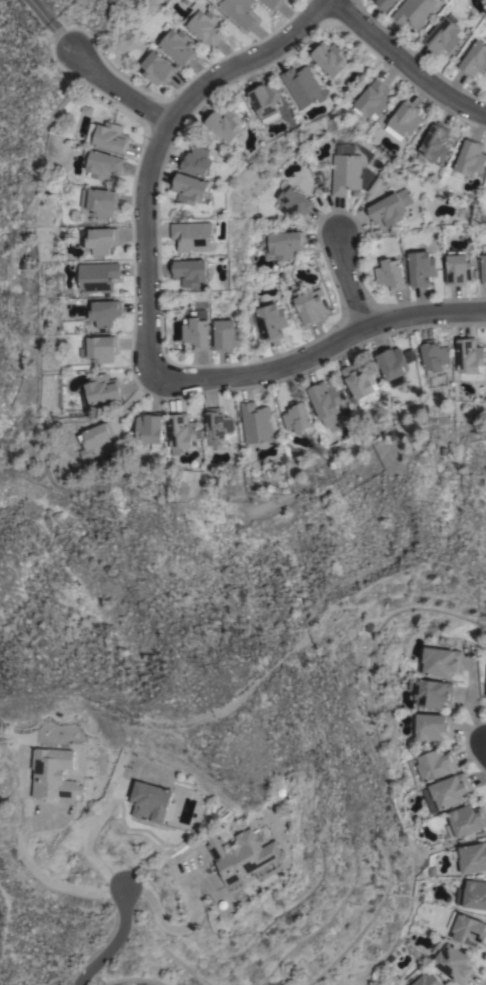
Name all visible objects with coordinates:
building: (274, 4)
building: (384, 4)
building: (238, 12)
building: (414, 12)
building: (204, 24)
road: (50, 27)
building: (443, 36)
building: (178, 46)
building: (330, 58)
building: (475, 60)
road: (406, 63)
building: (157, 67)
building: (304, 86)
road: (120, 88)
building: (373, 99)
building: (266, 101)
building: (403, 121)
building: (225, 125)
building: (107, 136)
building: (435, 142)
road: (164, 143)
building: (469, 159)
building: (197, 161)
building: (103, 164)
building: (345, 170)
building: (190, 188)
building: (99, 201)
building: (293, 202)
building: (388, 209)
building: (193, 236)
building: (98, 239)
building: (285, 244)
building: (483, 264)
building: (421, 267)
building: (458, 269)
building: (190, 271)
building: (388, 275)
building: (98, 276)
road: (355, 282)
building: (310, 307)
building: (105, 312)
building: (271, 321)
building: (196, 331)
building: (226, 334)
building: (99, 348)
road: (320, 354)
building: (469, 355)
building: (433, 356)
building: (393, 361)
building: (360, 381)
building: (100, 389)
building: (323, 399)
building: (297, 417)
building: (255, 422)
building: (217, 423)
building: (149, 429)
building: (181, 432)
building: (94, 440)
building: (439, 662)
building: (430, 692)
road: (470, 705)
building: (432, 726)
road: (485, 747)
building: (436, 764)
building: (53, 773)
building: (447, 792)
building: (151, 802)
building: (465, 820)
road: (93, 828)
building: (243, 854)
building: (473, 857)
road: (38, 876)
building: (472, 894)
road: (174, 929)
building: (467, 929)
road: (114, 940)
building: (452, 962)
building: (428, 980)

